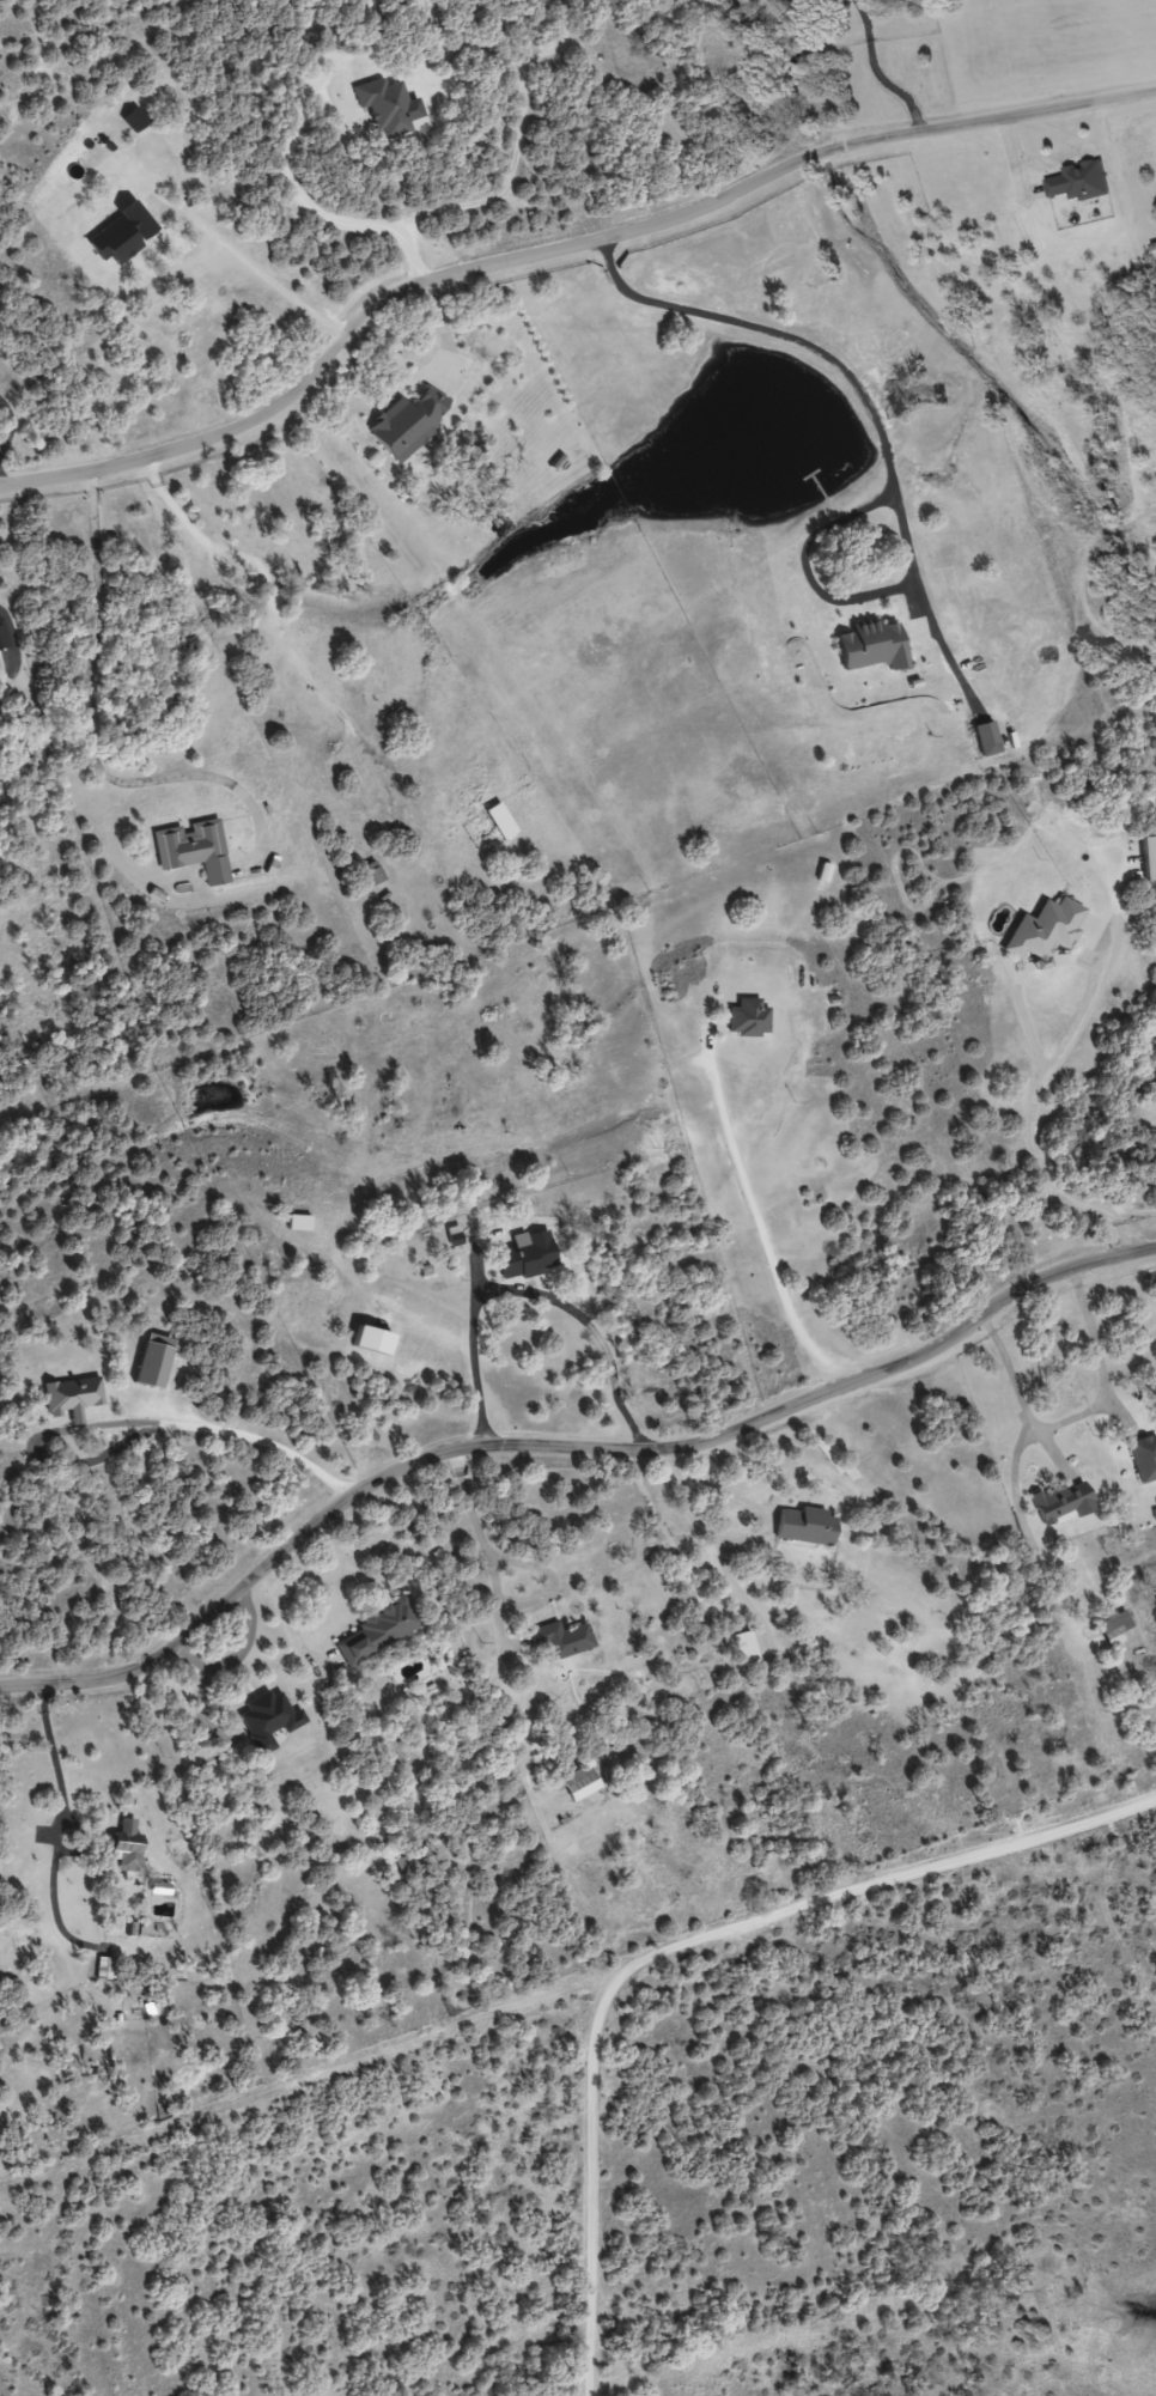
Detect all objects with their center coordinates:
road: (1114, 45)
building: (384, 107)
building: (134, 121)
building: (1078, 182)
road: (310, 189)
building: (118, 235)
road: (556, 244)
road: (262, 261)
building: (407, 421)
road: (883, 448)
building: (2, 638)
building: (871, 645)
road: (97, 701)
building: (985, 737)
building: (193, 849)
building: (371, 872)
building: (747, 1017)
road: (758, 1221)
building: (525, 1254)
road: (530, 1291)
building: (152, 1361)
building: (71, 1397)
road: (560, 1440)
building: (1144, 1457)
building: (1061, 1502)
building: (804, 1526)
building: (1114, 1625)
building: (378, 1629)
building: (558, 1640)
building: (267, 1720)
road: (294, 1740)
building: (579, 1782)
building: (123, 1845)
road: (667, 1927)
building: (102, 1968)
road: (291, 2056)

